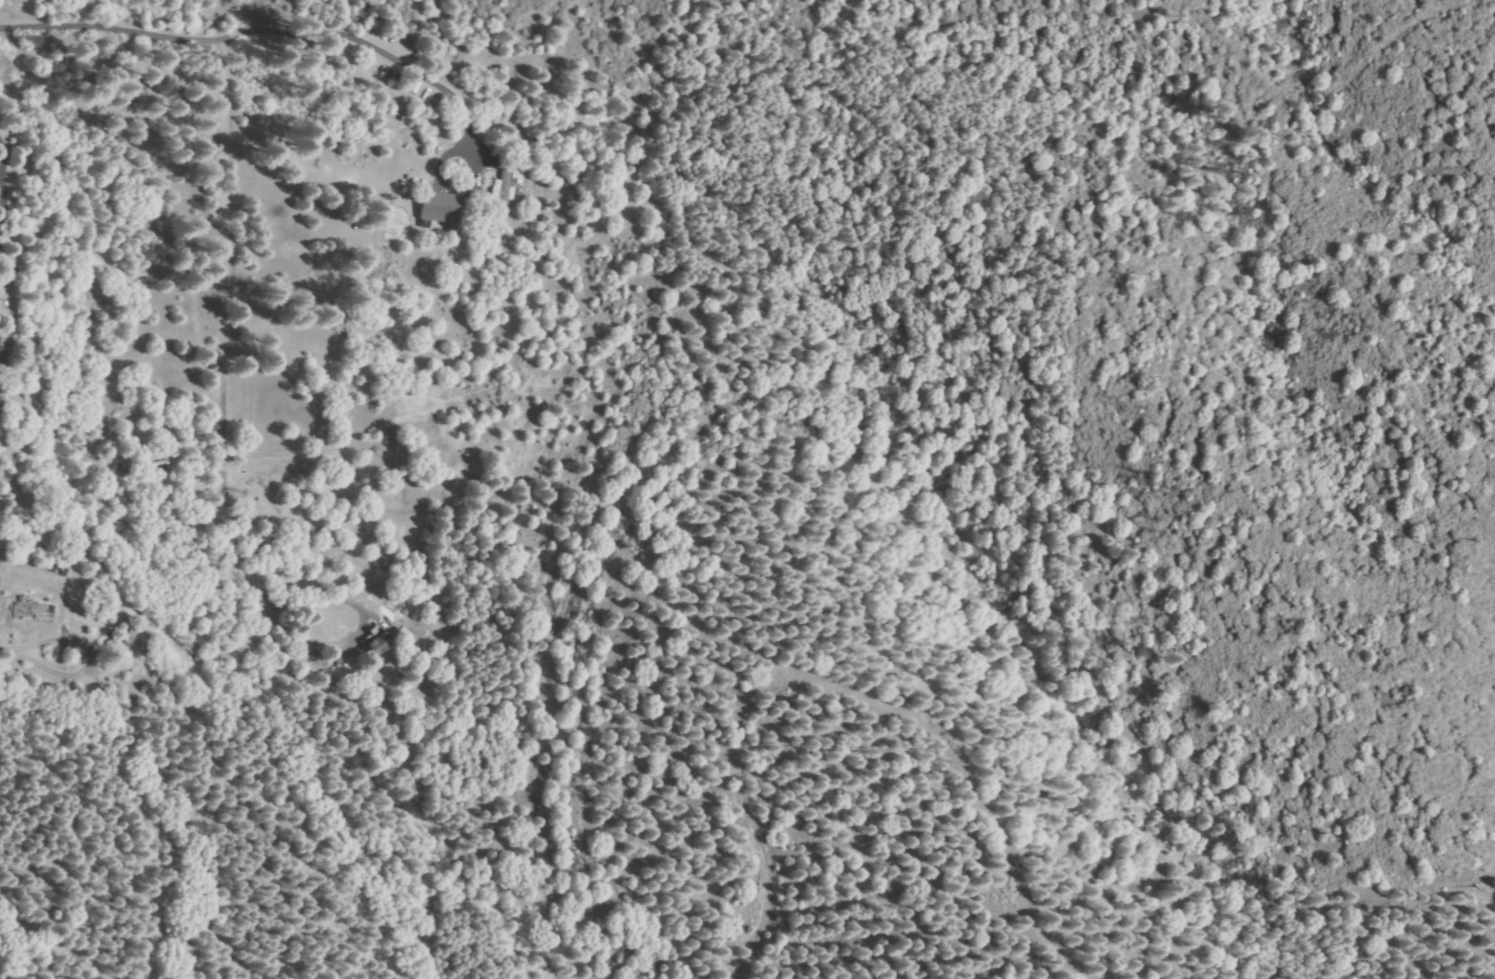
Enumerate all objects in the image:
road: (145, 38)
building: (505, 190)
building: (442, 207)
building: (2, 345)
building: (161, 462)
building: (127, 467)
building: (161, 469)
building: (34, 611)
building: (129, 621)
building: (140, 640)
building: (376, 642)

